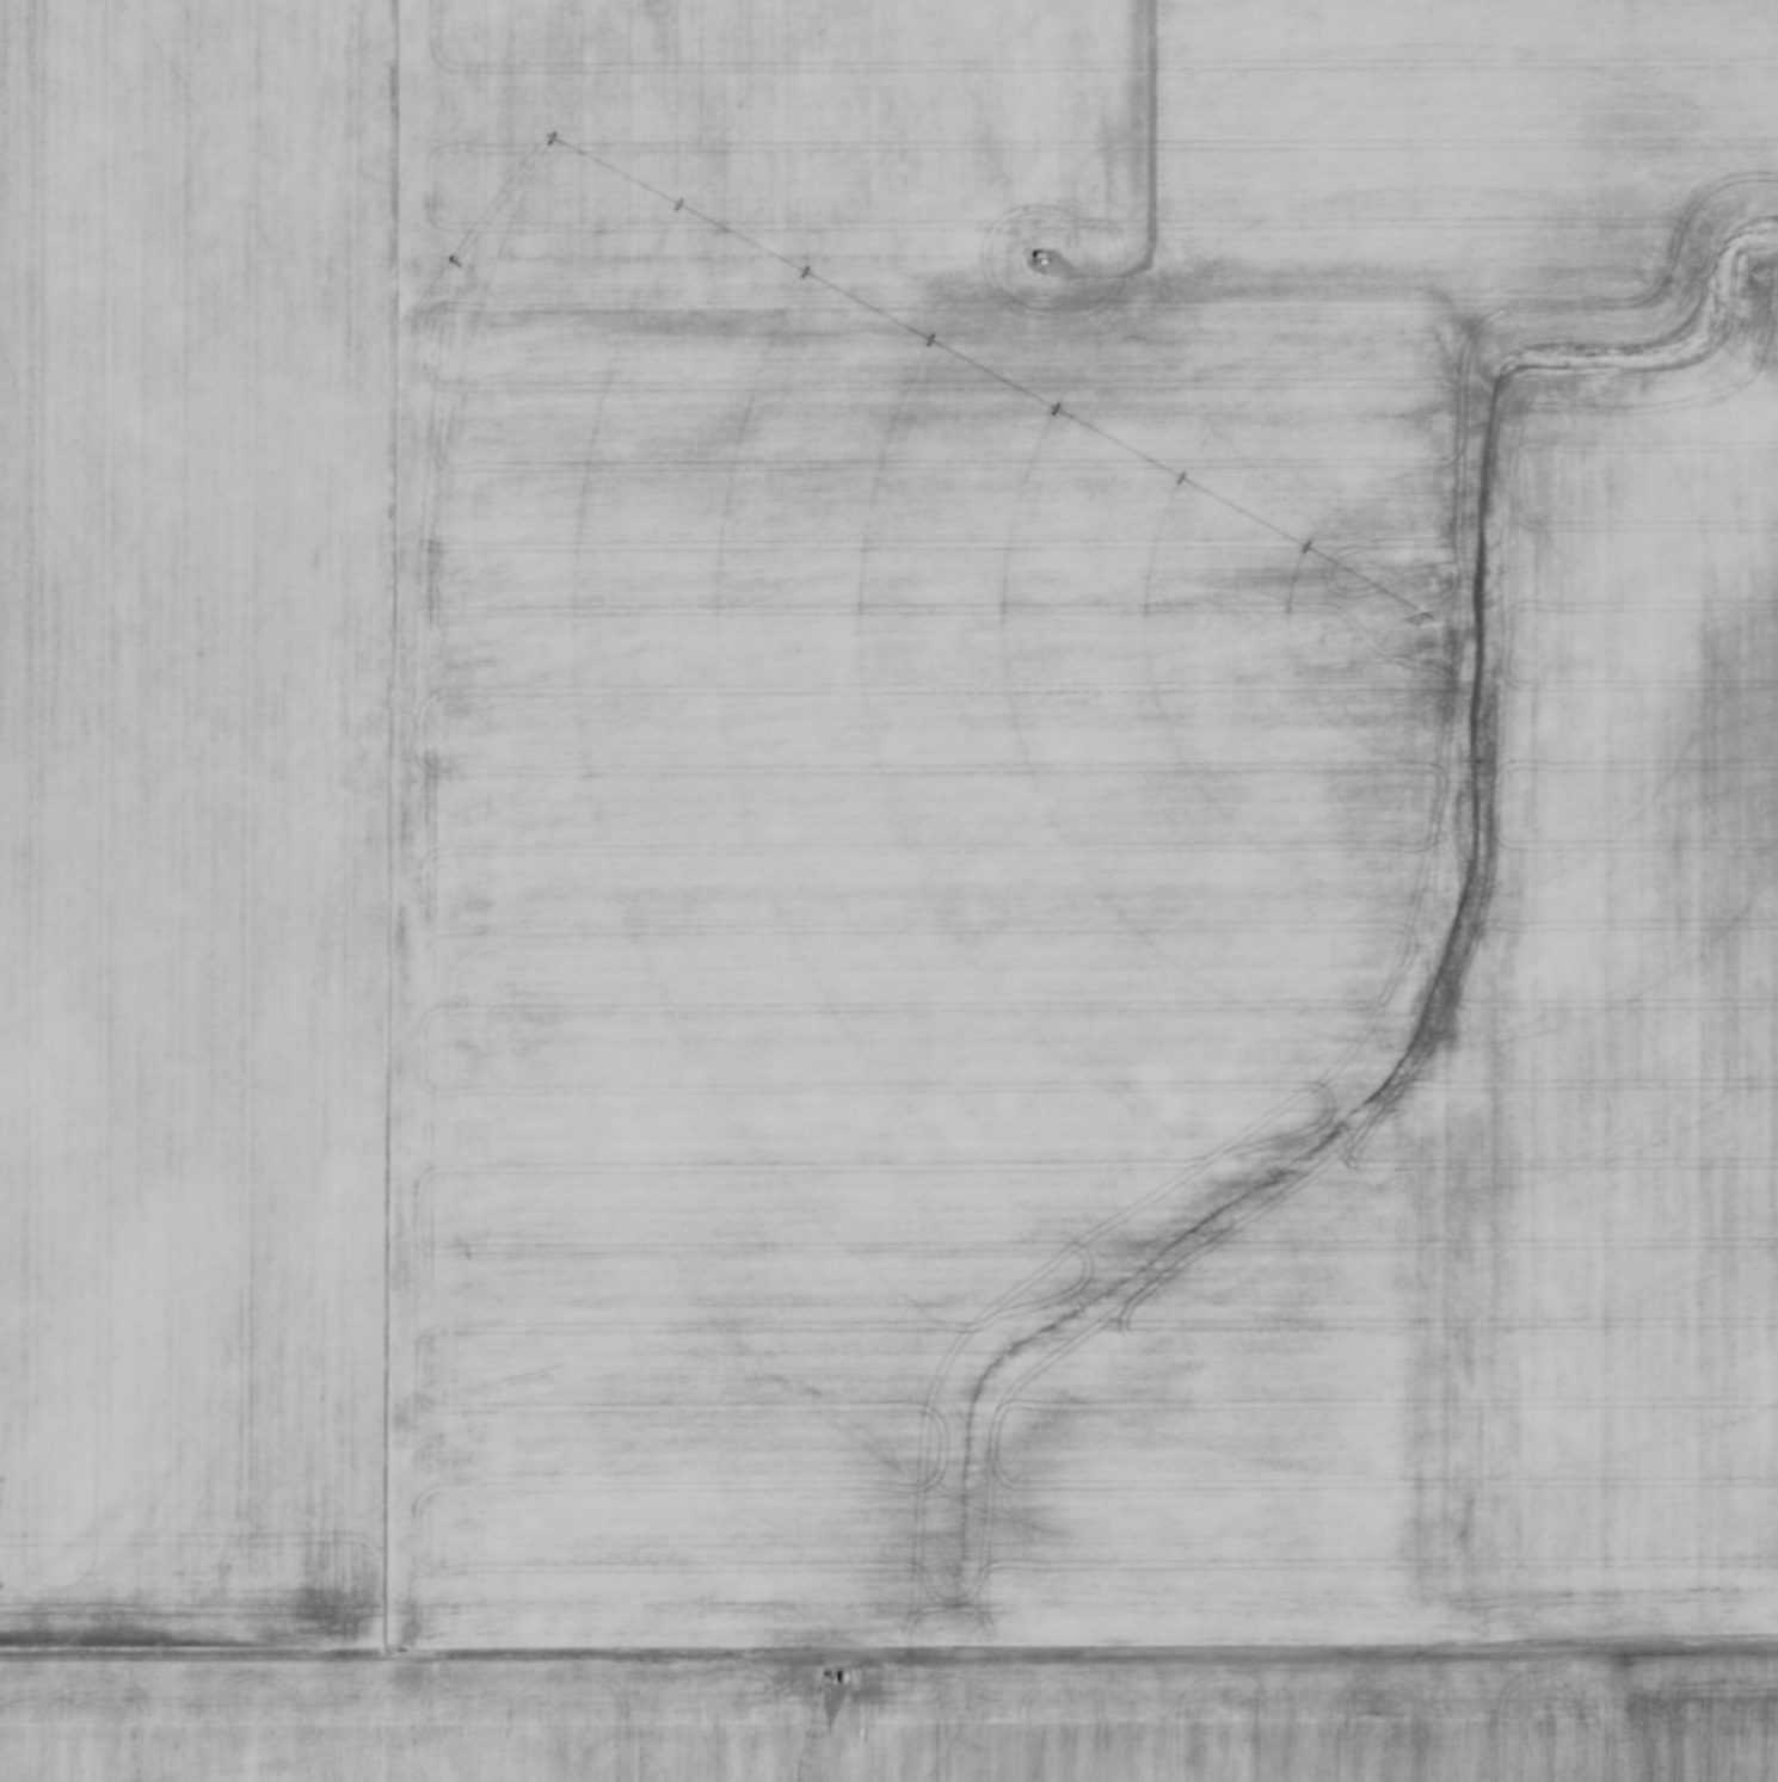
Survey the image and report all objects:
building: (693, 1654)

